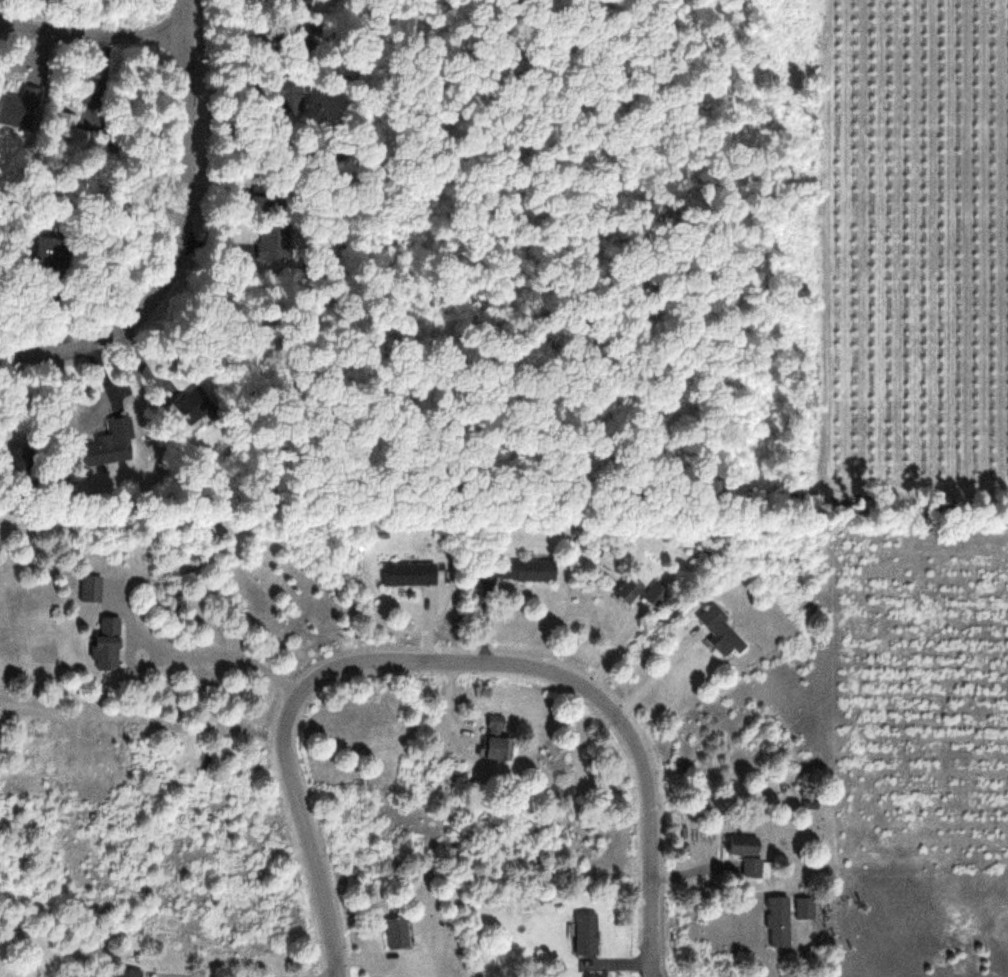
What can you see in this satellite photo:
road: (94, 34)
building: (288, 97)
building: (16, 110)
road: (184, 238)
building: (278, 248)
building: (112, 444)
building: (531, 571)
building: (410, 574)
building: (87, 588)
building: (638, 591)
building: (722, 632)
building: (109, 644)
road: (447, 659)
building: (497, 739)
building: (747, 846)
building: (756, 869)
building: (805, 908)
building: (779, 921)
building: (398, 932)
building: (587, 933)
building: (129, 973)

